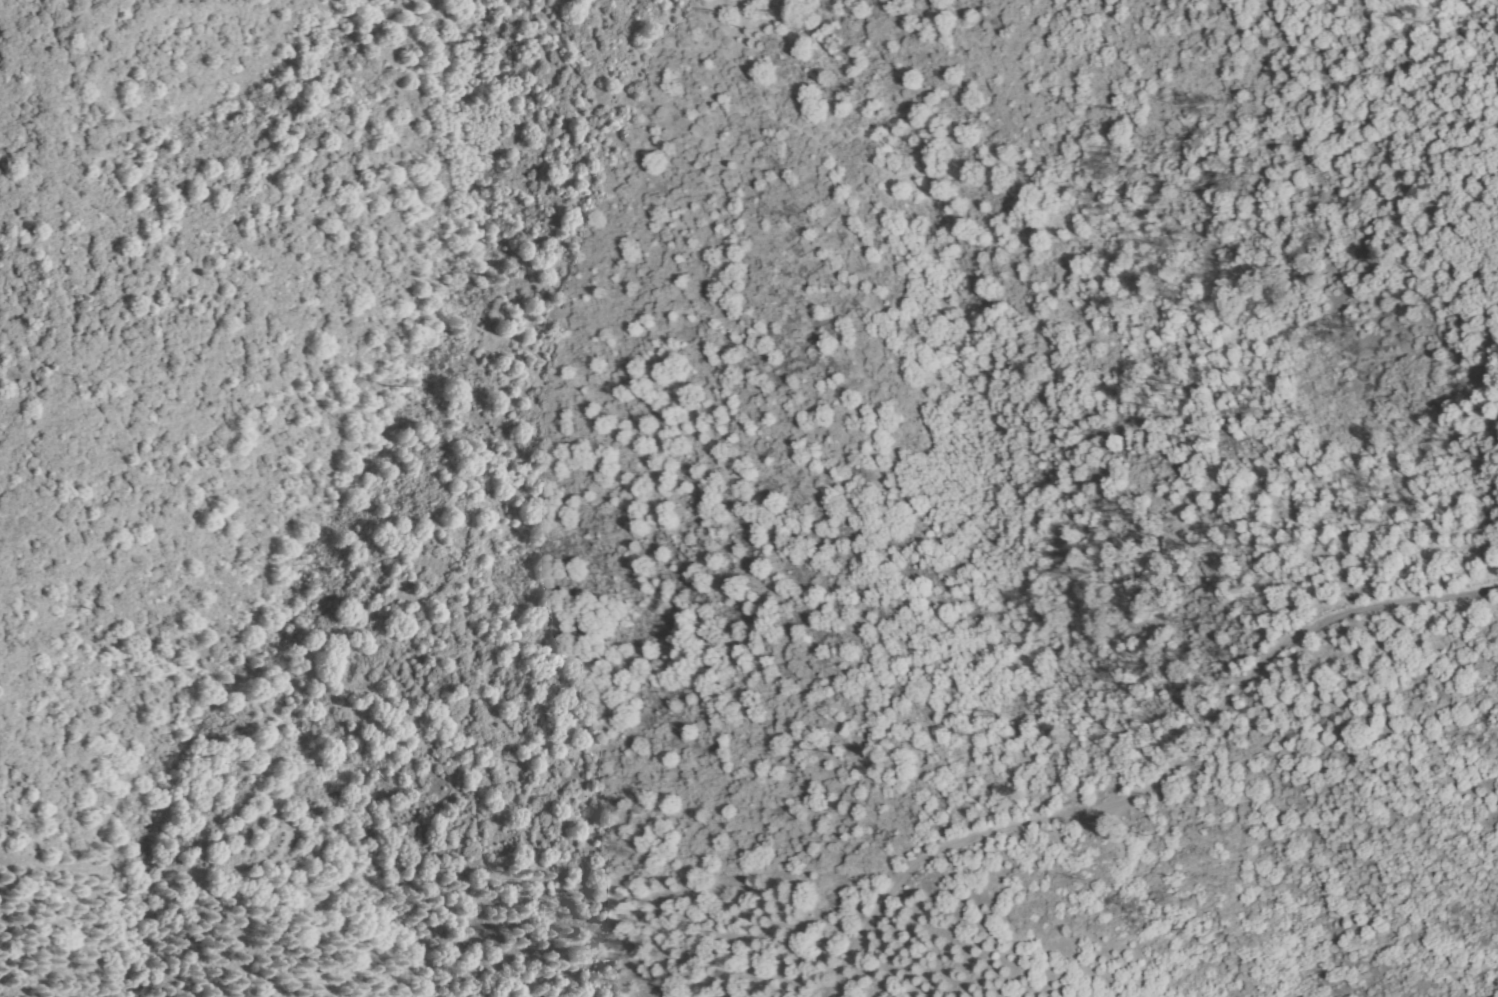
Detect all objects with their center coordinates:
road: (1163, 790)

